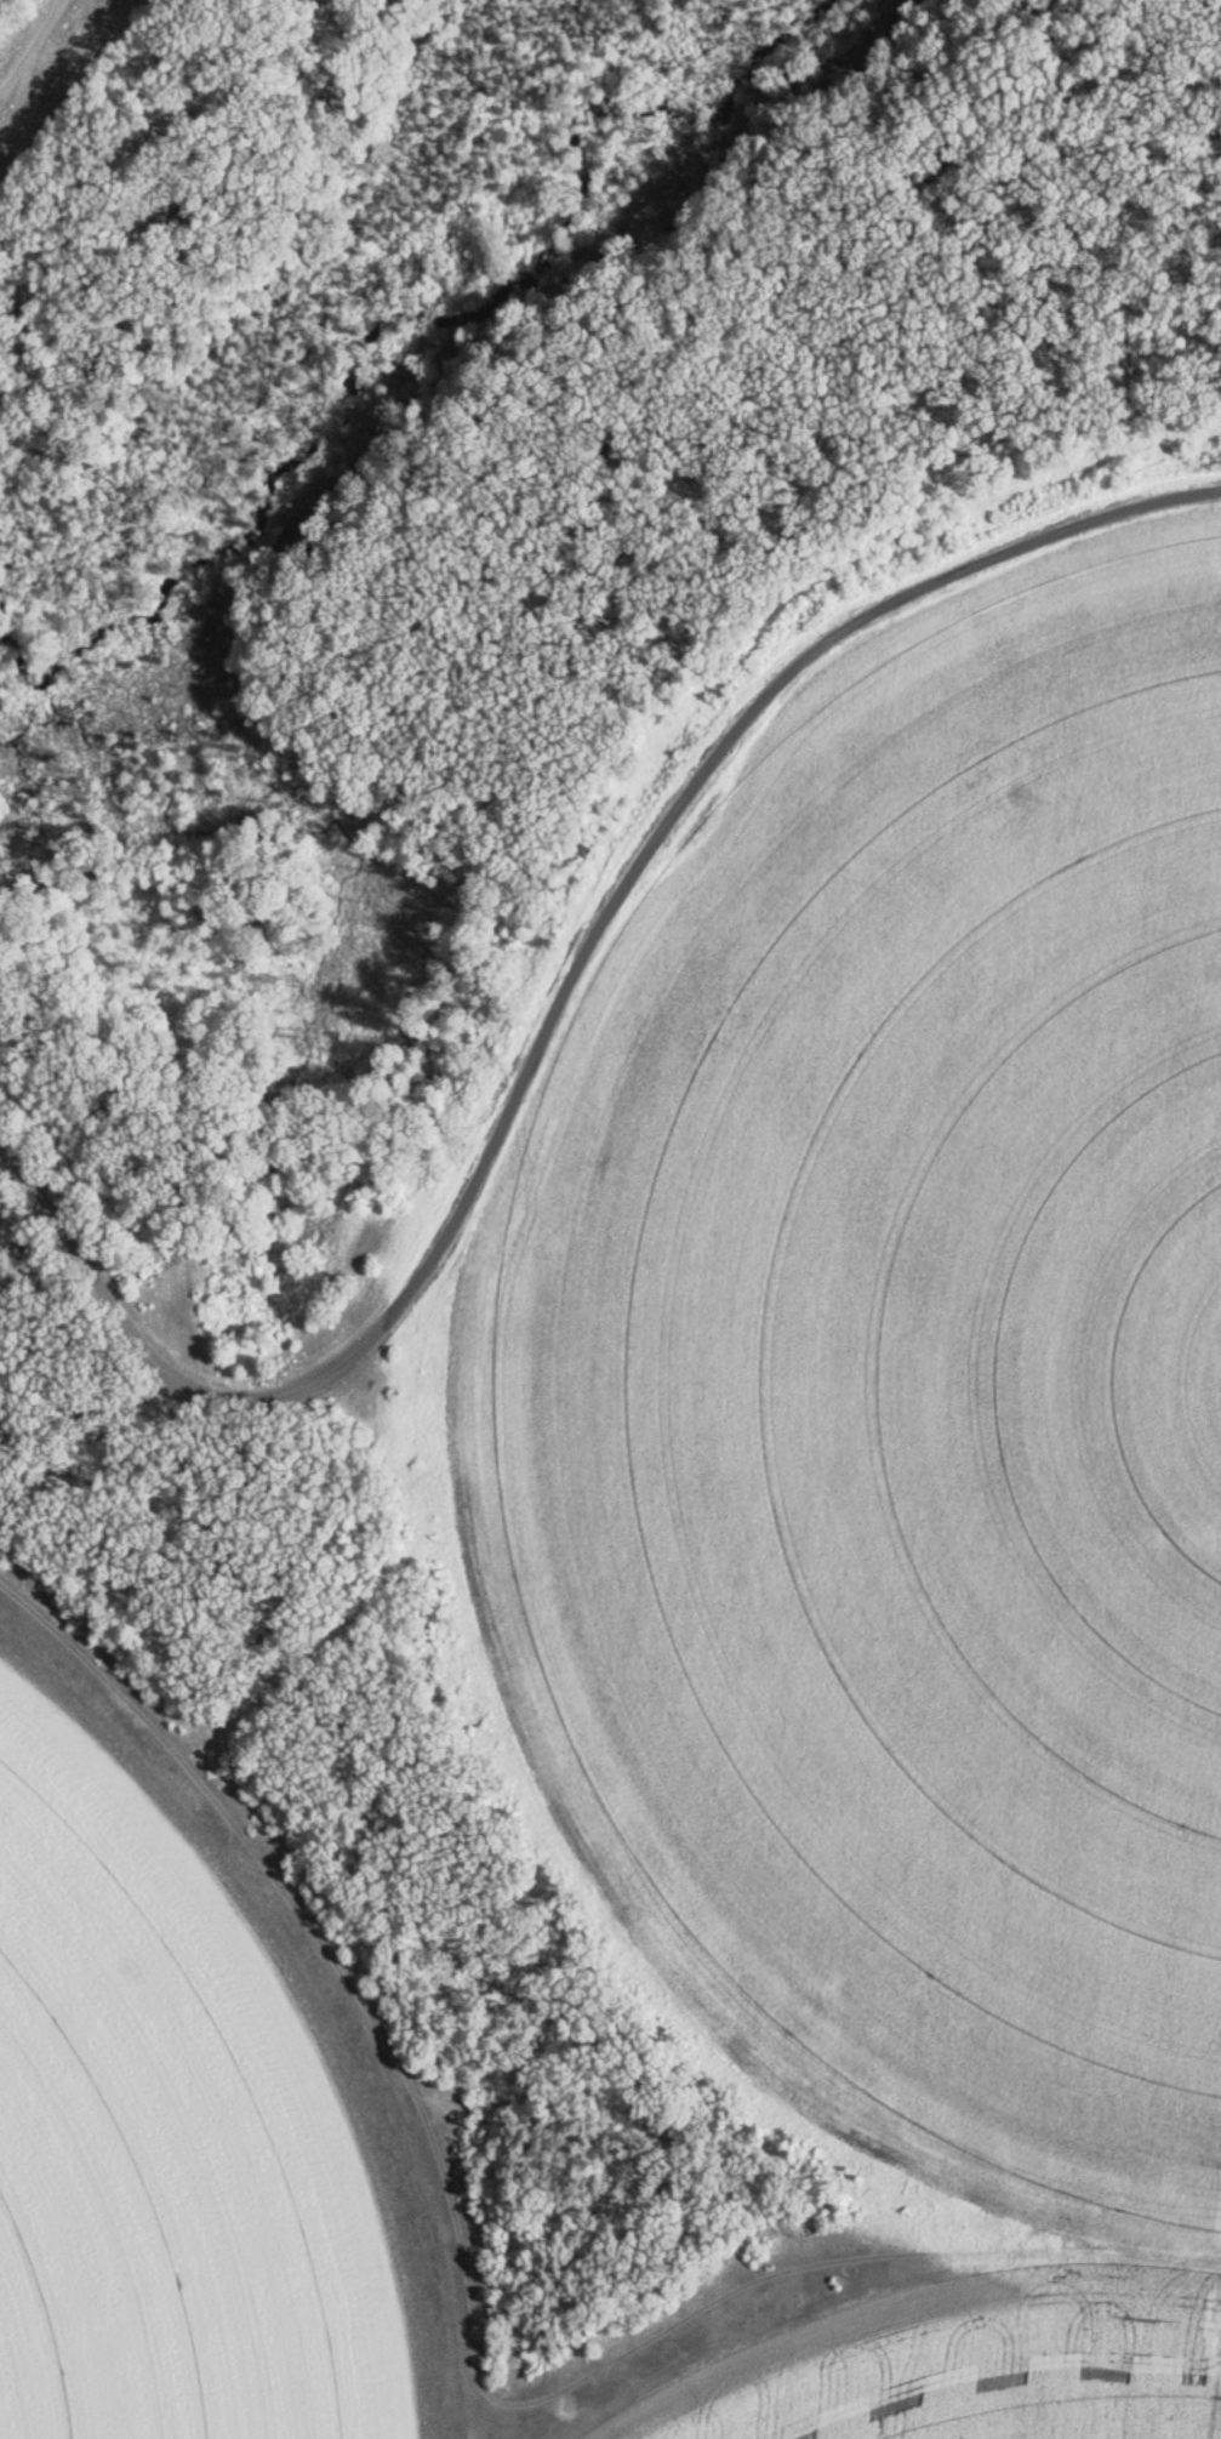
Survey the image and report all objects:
road: (113, 229)
road: (451, 690)
road: (554, 1016)
wastewater plant: (672, 1617)

